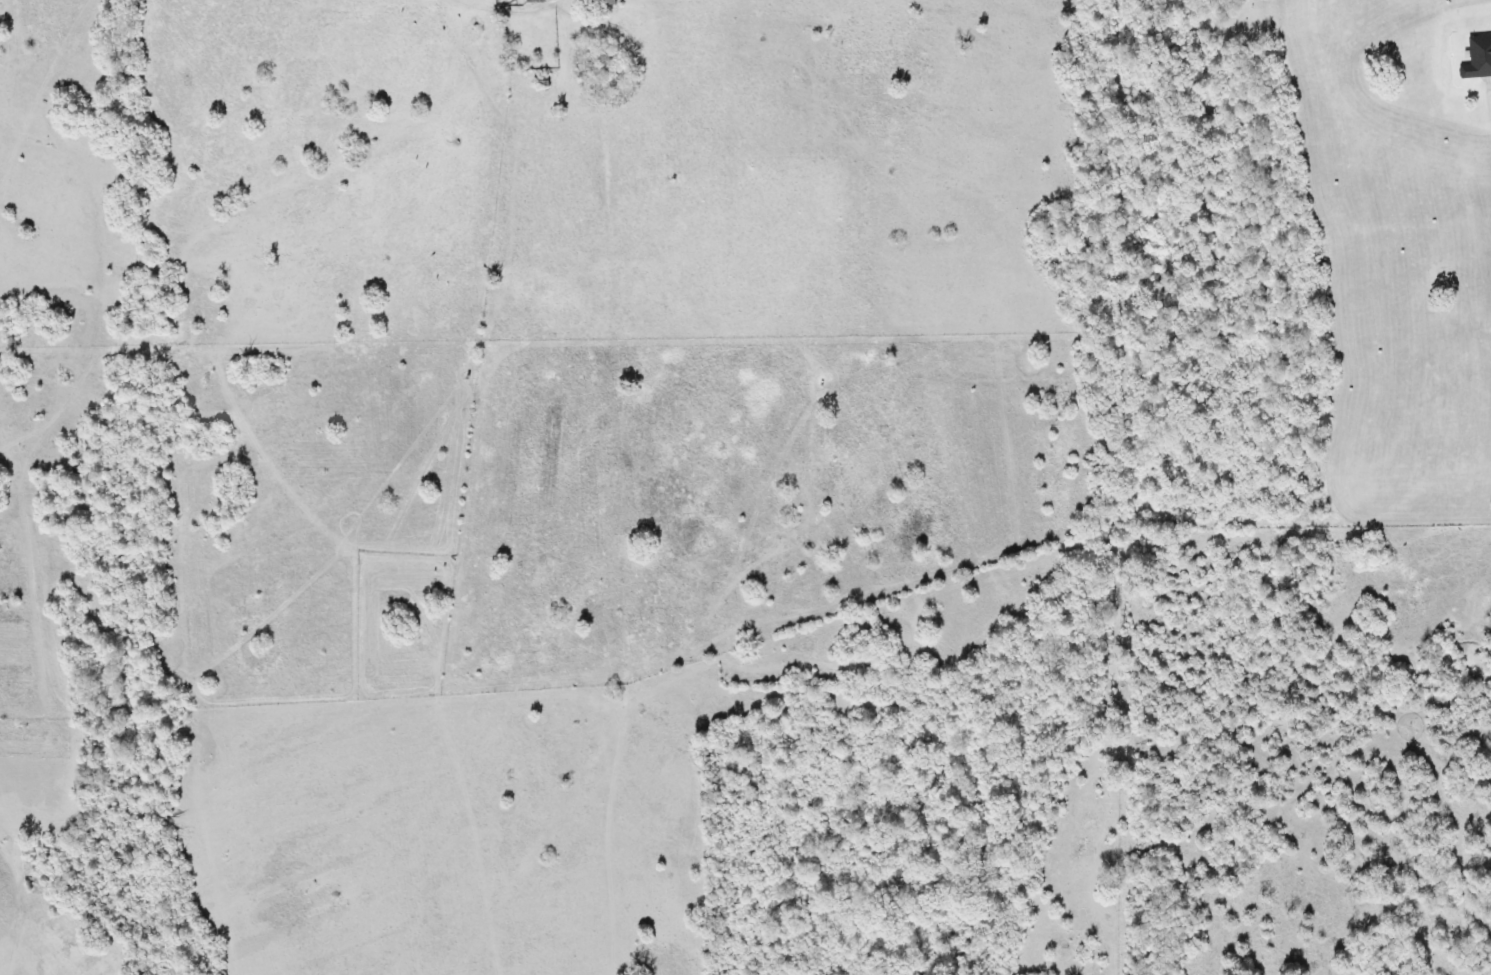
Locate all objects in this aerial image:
road: (514, 6)
building: (1475, 58)

